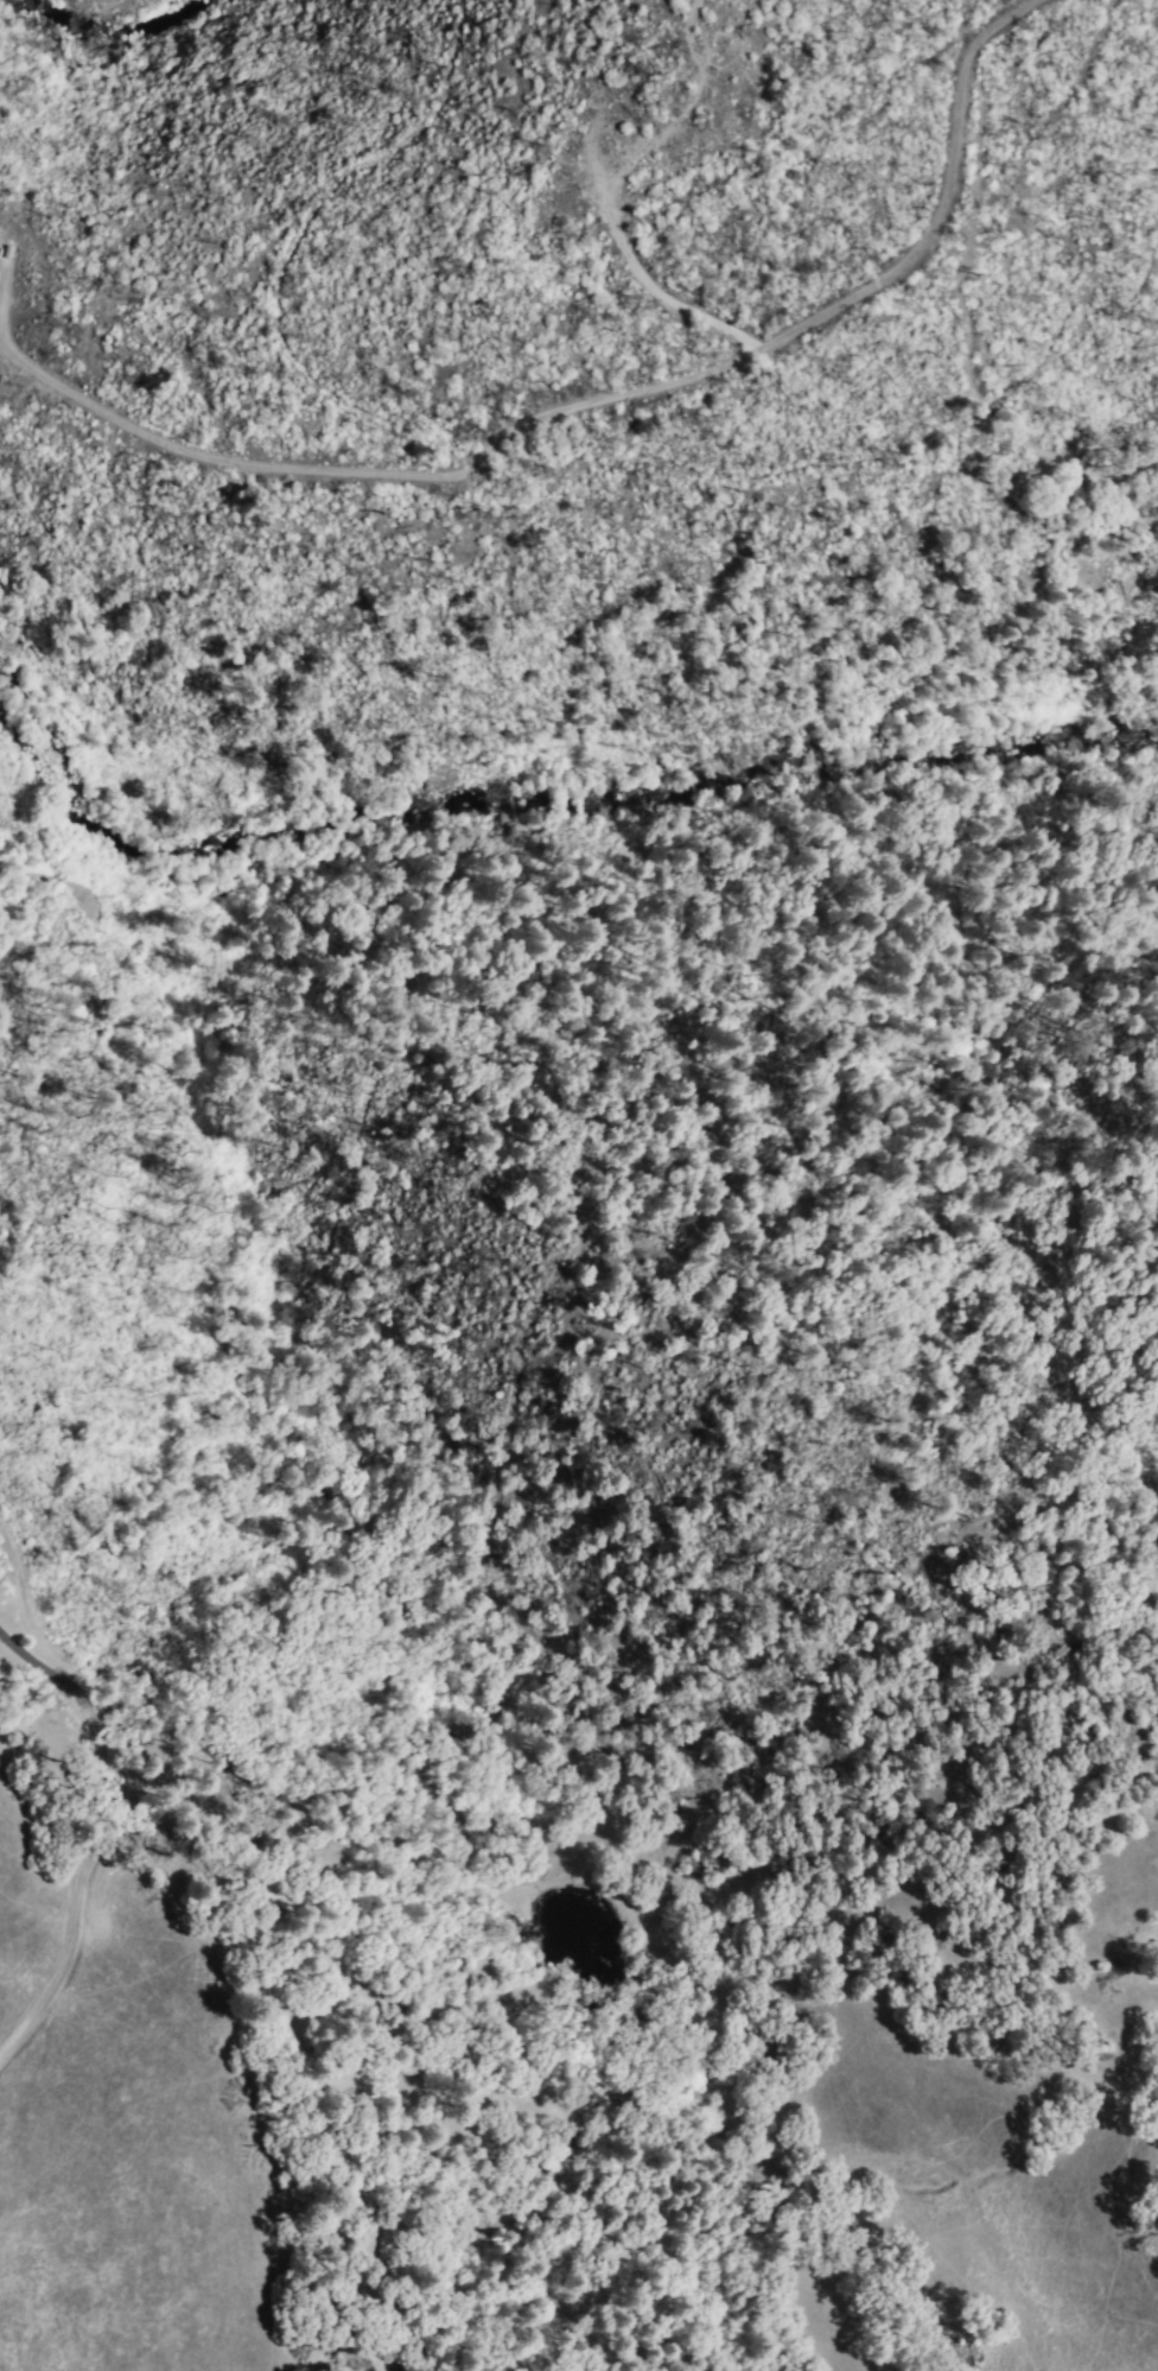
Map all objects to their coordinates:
river: (96, 28)
road: (533, 416)
river: (551, 844)
road: (6, 1624)
road: (74, 1834)

